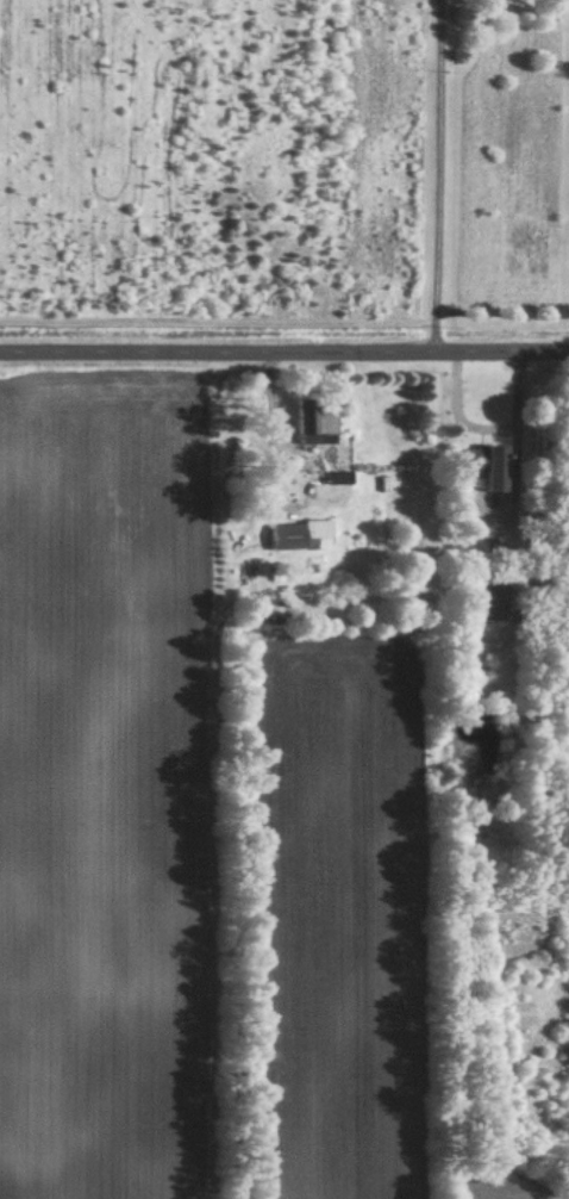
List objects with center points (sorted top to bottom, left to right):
road: (433, 174)
road: (284, 350)
building: (306, 422)
building: (482, 468)
road: (267, 487)
building: (294, 535)
building: (486, 599)

